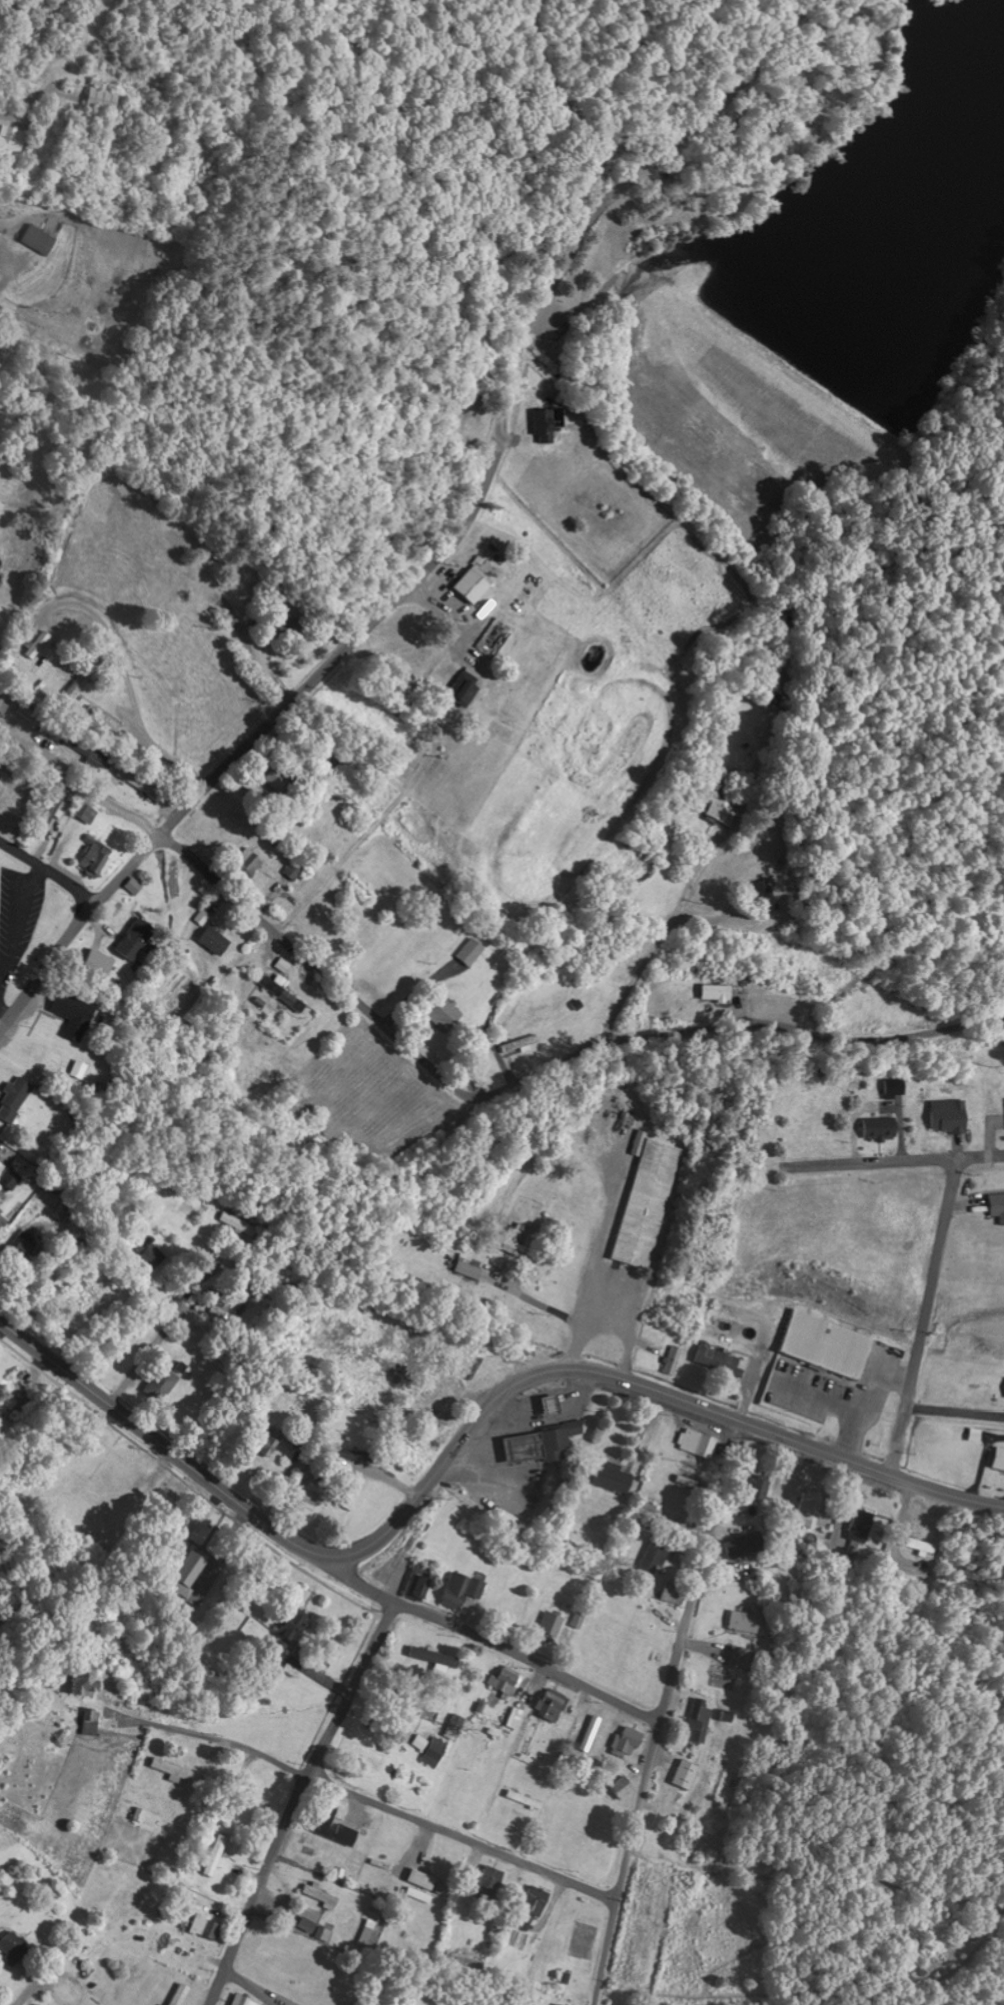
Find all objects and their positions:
road: (2, 6)
building: (98, 98)
building: (8, 140)
building: (42, 239)
road: (12, 393)
road: (506, 397)
building: (548, 423)
building: (474, 586)
building: (37, 645)
building: (83, 678)
building: (465, 687)
building: (3, 701)
building: (102, 718)
building: (40, 721)
road: (264, 728)
building: (94, 754)
building: (280, 778)
building: (143, 784)
building: (262, 791)
building: (52, 808)
building: (724, 812)
building: (87, 813)
road: (331, 850)
building: (96, 856)
building: (250, 863)
building: (295, 869)
road: (48, 872)
building: (136, 886)
building: (767, 895)
building: (203, 917)
building: (139, 938)
building: (217, 941)
building: (472, 951)
road: (696, 960)
building: (102, 966)
building: (285, 966)
building: (283, 991)
building: (719, 992)
building: (447, 1014)
building: (76, 1015)
building: (521, 1045)
building: (81, 1069)
road: (454, 1088)
building: (895, 1088)
building: (17, 1099)
building: (882, 1128)
road: (897, 1158)
building: (10, 1176)
building: (647, 1201)
building: (998, 1205)
building: (238, 1224)
building: (519, 1240)
building: (19, 1250)
building: (155, 1254)
road: (595, 1268)
building: (468, 1270)
building: (51, 1282)
road: (538, 1296)
road: (926, 1316)
road: (165, 1322)
building: (673, 1360)
building: (722, 1361)
building: (836, 1368)
road: (623, 1379)
building: (433, 1411)
road: (149, 1435)
building: (269, 1440)
building: (699, 1443)
building: (542, 1445)
building: (1000, 1459)
road: (384, 1478)
building: (616, 1478)
building: (689, 1482)
road: (286, 1487)
building: (760, 1489)
building: (809, 1507)
building: (647, 1510)
building: (866, 1525)
building: (747, 1545)
building: (920, 1546)
building: (658, 1552)
building: (194, 1568)
building: (421, 1582)
building: (465, 1590)
building: (676, 1594)
building: (744, 1622)
building: (297, 1626)
building: (556, 1628)
road: (477, 1638)
building: (738, 1657)
building: (437, 1659)
building: (508, 1681)
building: (88, 1682)
building: (553, 1704)
road: (663, 1711)
building: (516, 1718)
building: (700, 1721)
building: (93, 1722)
building: (456, 1727)
building: (627, 1742)
building: (421, 1743)
building: (436, 1752)
building: (174, 1770)
building: (687, 1775)
building: (623, 1787)
road: (295, 1801)
road: (373, 1803)
building: (660, 1821)
building: (331, 1825)
building: (219, 1856)
building: (424, 1880)
building: (491, 1884)
building: (322, 1896)
building: (532, 1906)
building: (208, 1927)
building: (318, 1929)
building: (16, 1948)
building: (175, 1994)
building: (240, 2001)
building: (38, 2004)
building: (551, 2004)

